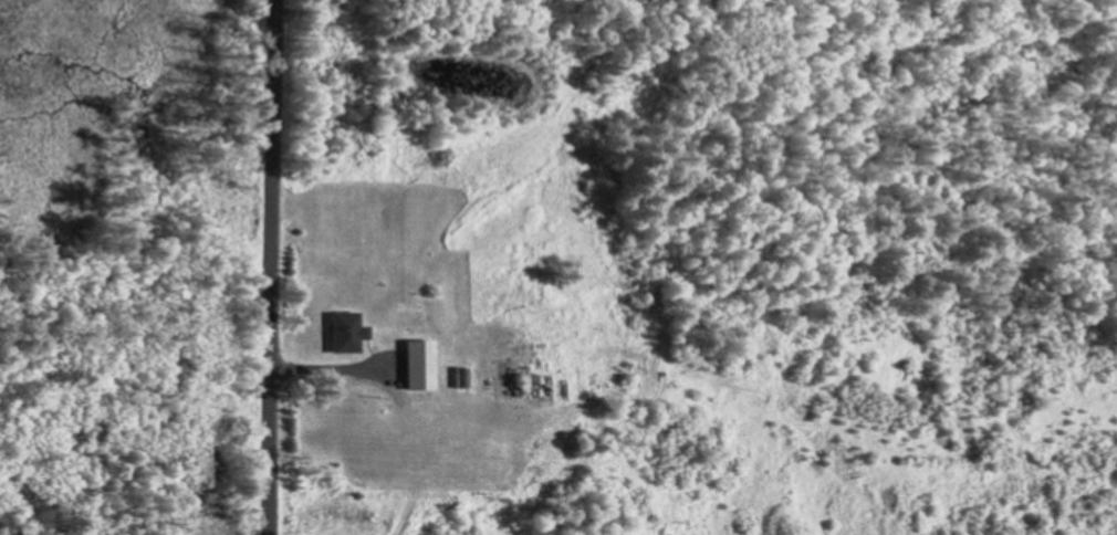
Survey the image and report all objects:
road: (272, 267)
building: (346, 332)
building: (417, 363)

